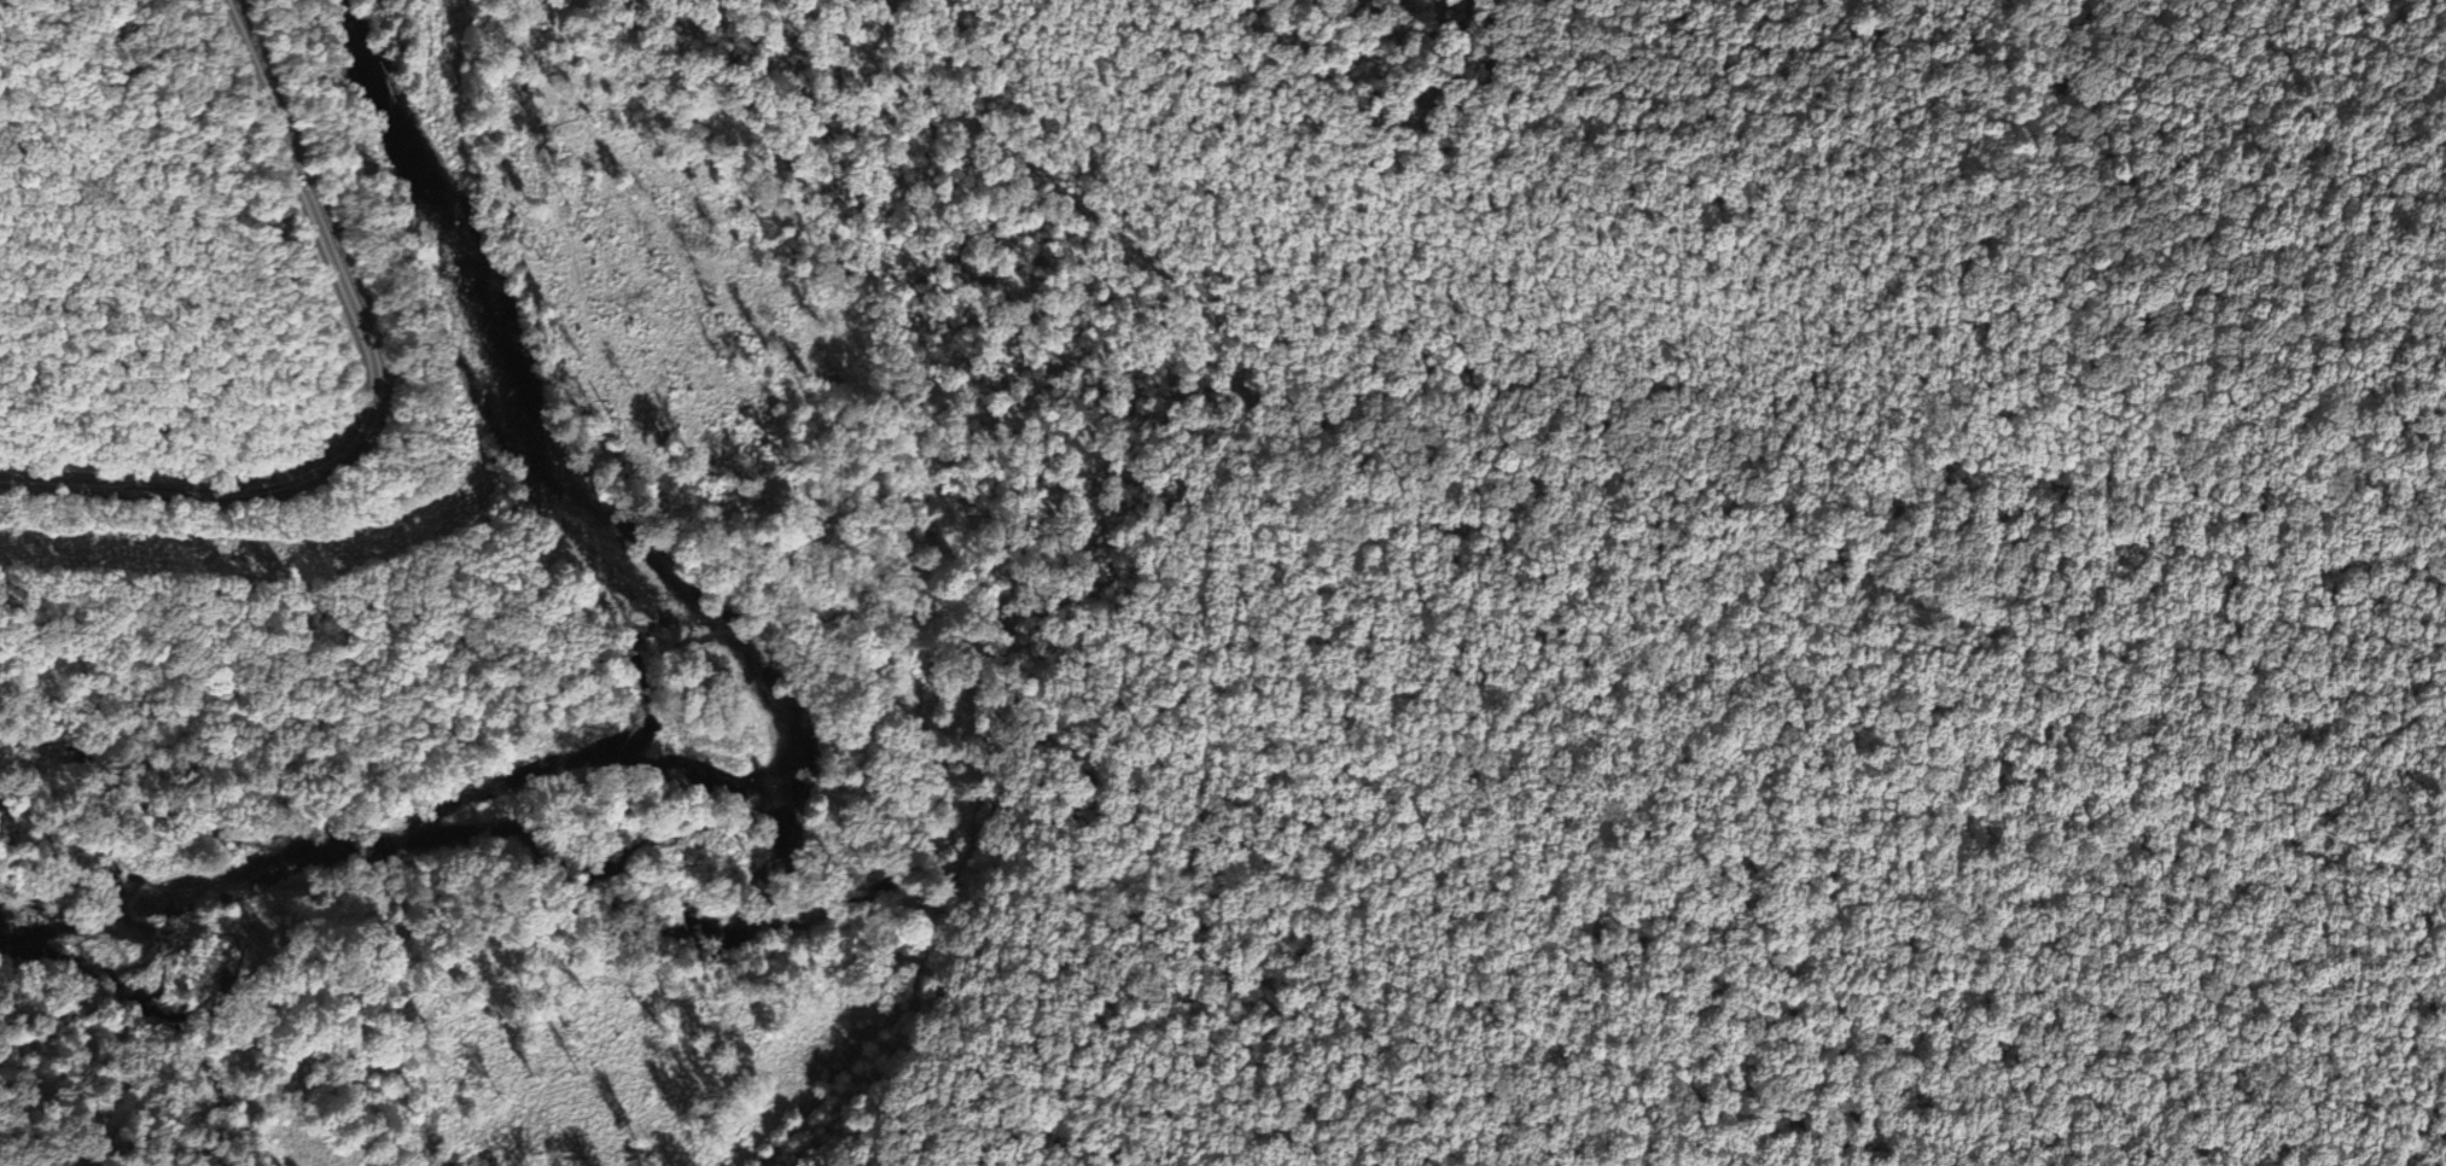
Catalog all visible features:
road: (362, 391)

